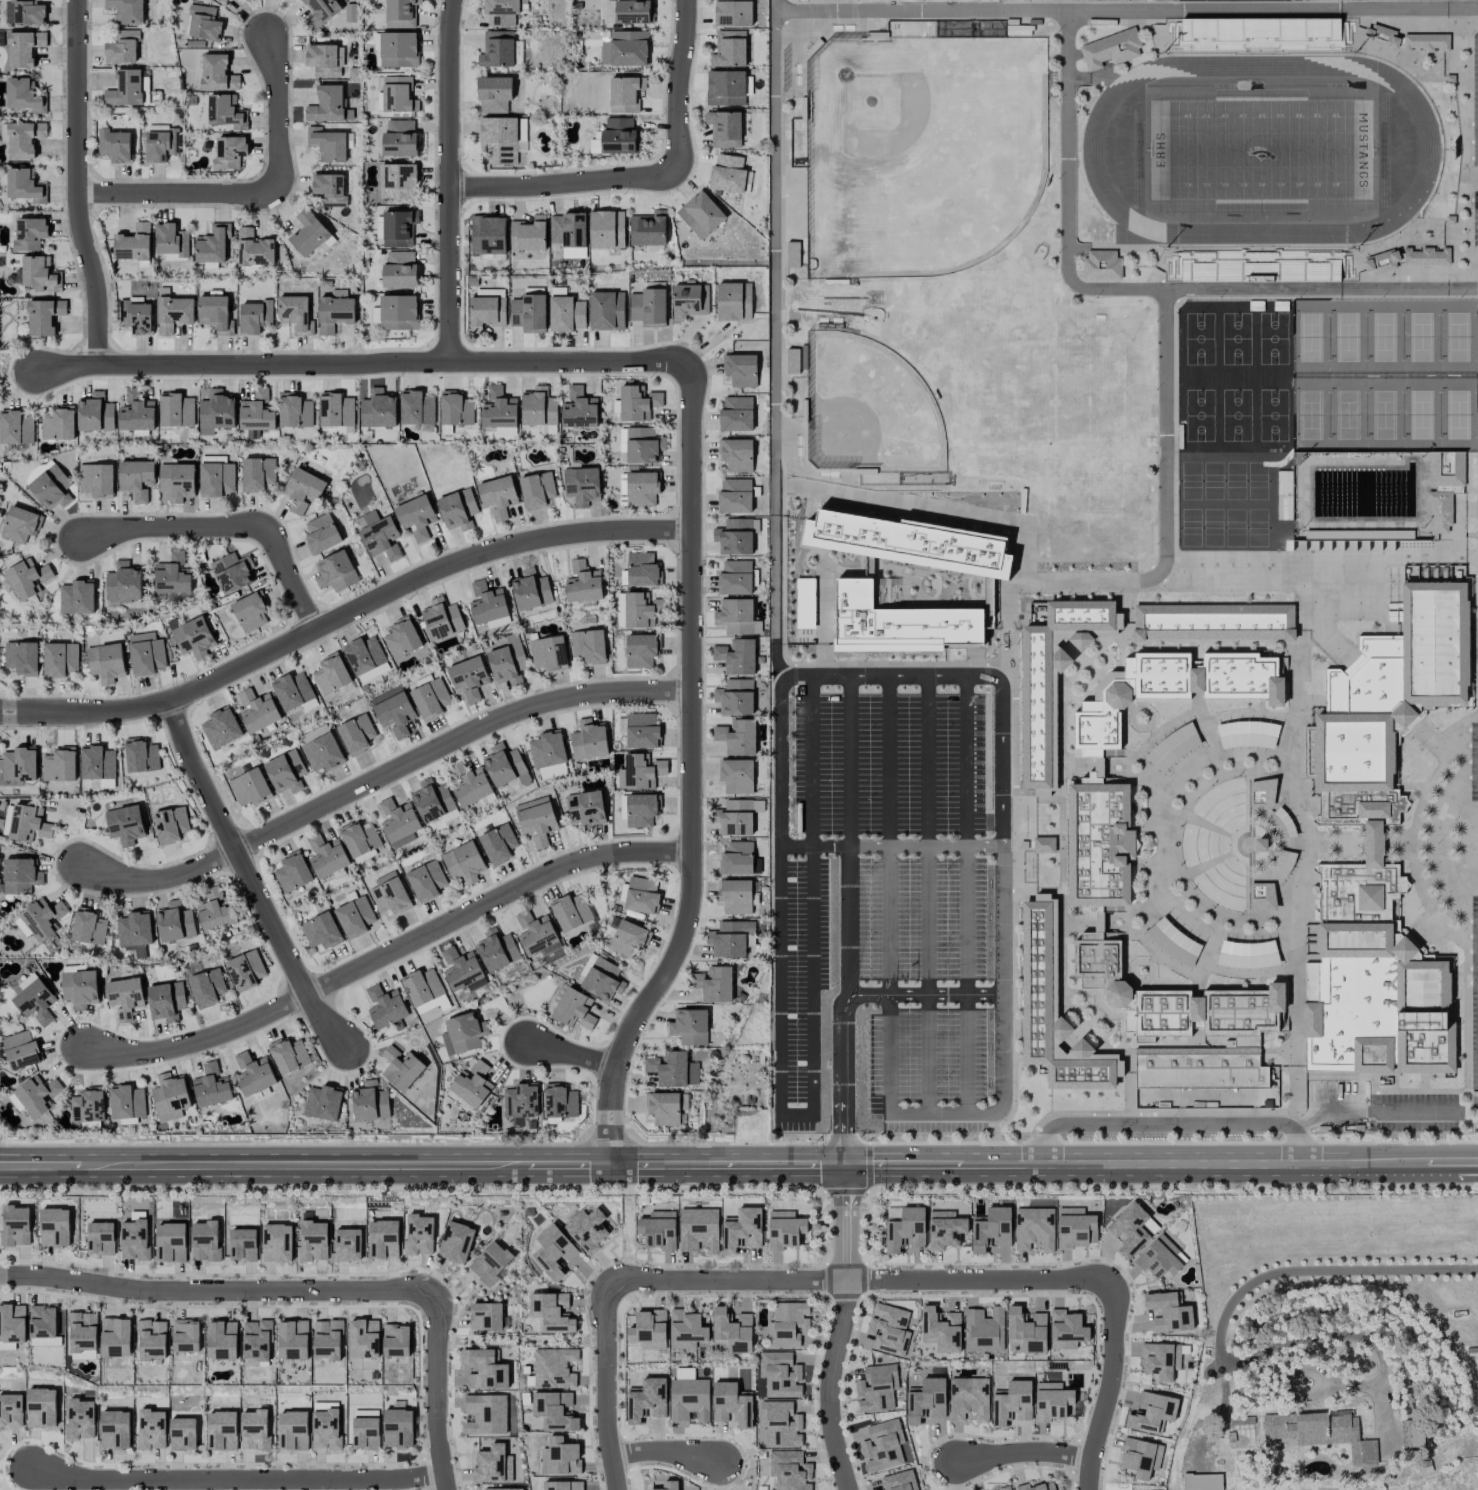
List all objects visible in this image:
building: (219, 0)
road: (1126, 10)
building: (126, 11)
building: (321, 11)
building: (502, 11)
building: (632, 11)
building: (24, 12)
building: (400, 13)
building: (732, 13)
building: (203, 23)
building: (1260, 34)
building: (1404, 39)
building: (24, 48)
building: (122, 48)
building: (629, 48)
building: (398, 49)
building: (497, 49)
building: (729, 49)
building: (1111, 49)
building: (605, 53)
building: (325, 60)
building: (217, 74)
building: (1449, 78)
road: (678, 85)
building: (125, 88)
building: (725, 88)
building: (625, 94)
building: (398, 95)
building: (494, 95)
building: (25, 96)
building: (326, 105)
building: (226, 112)
building: (724, 129)
building: (620, 136)
building: (24, 139)
building: (399, 139)
building: (502, 139)
building: (162, 144)
building: (327, 144)
building: (114, 145)
park: (1260, 149)
building: (229, 152)
park: (921, 152)
track: (1428, 155)
building: (727, 174)
road: (566, 179)
road: (451, 180)
building: (398, 181)
road: (78, 183)
building: (25, 185)
building: (329, 189)
road: (1067, 193)
road: (258, 194)
building: (700, 214)
building: (1449, 220)
building: (398, 228)
building: (606, 229)
building: (648, 229)
building: (567, 230)
building: (308, 233)
building: (29, 234)
building: (528, 234)
building: (488, 235)
building: (171, 241)
building: (133, 244)
building: (212, 244)
building: (254, 249)
building: (792, 254)
building: (1406, 258)
building: (1101, 265)
building: (1260, 266)
building: (400, 270)
building: (40, 275)
building: (689, 300)
building: (734, 301)
building: (648, 307)
building: (487, 309)
building: (335, 311)
building: (606, 311)
building: (398, 312)
building: (295, 313)
building: (529, 313)
building: (173, 314)
building: (215, 314)
building: (566, 314)
building: (44, 316)
building: (135, 316)
building: (254, 317)
road: (776, 335)
park: (1421, 336)
park: (1458, 336)
park: (1310, 337)
park: (1347, 337)
park: (1383, 337)
park: (1199, 338)
park: (1236, 338)
park: (1273, 338)
road: (365, 362)
building: (740, 370)
road: (1165, 393)
building: (637, 403)
building: (538, 407)
building: (416, 408)
park: (868, 408)
building: (378, 409)
building: (455, 409)
building: (498, 409)
building: (578, 409)
building: (176, 410)
building: (335, 410)
building: (295, 411)
building: (216, 412)
building: (256, 412)
building: (95, 413)
building: (136, 413)
building: (736, 414)
park: (1347, 414)
park: (1421, 414)
park: (1458, 414)
park: (1199, 415)
park: (1236, 415)
park: (1273, 415)
park: (1310, 415)
park: (1384, 415)
building: (58, 424)
building: (16, 427)
building: (505, 431)
building: (622, 440)
building: (643, 445)
building: (736, 455)
building: (257, 474)
building: (137, 479)
building: (216, 479)
building: (96, 480)
building: (177, 481)
park: (1190, 482)
park: (1236, 482)
park: (1260, 482)
park: (1214, 483)
building: (582, 485)
building: (622, 485)
building: (1444, 486)
building: (52, 488)
building: (642, 488)
building: (302, 489)
building: (536, 490)
building: (498, 496)
building: (735, 496)
building: (457, 509)
building: (415, 517)
building: (20, 524)
road: (229, 528)
park: (1190, 528)
park: (1236, 528)
park: (1260, 528)
park: (1213, 529)
building: (1241, 532)
building: (1206, 533)
building: (321, 534)
building: (1359, 534)
building: (379, 536)
building: (736, 536)
building: (912, 544)
building: (871, 568)
building: (642, 570)
building: (232, 572)
building: (335, 572)
building: (172, 575)
building: (28, 578)
building: (735, 578)
building: (1198, 578)
building: (583, 583)
building: (123, 584)
building: (531, 592)
building: (77, 598)
building: (487, 604)
building: (250, 611)
building: (638, 611)
road: (342, 616)
building: (735, 616)
building: (442, 619)
building: (1214, 622)
building: (898, 623)
building: (193, 638)
building: (402, 638)
building: (588, 646)
building: (641, 650)
building: (548, 653)
building: (146, 654)
building: (364, 655)
building: (736, 656)
building: (21, 658)
building: (60, 659)
building: (105, 662)
road: (895, 669)
building: (331, 674)
building: (468, 678)
building: (1053, 680)
building: (292, 691)
building: (735, 697)
building: (430, 699)
building: (257, 711)
building: (393, 711)
building: (221, 728)
building: (642, 731)
building: (356, 734)
building: (1247, 734)
building: (737, 737)
building: (589, 740)
building: (1173, 747)
building: (320, 749)
building: (547, 750)
building: (141, 756)
road: (889, 757)
road: (929, 757)
road: (967, 757)
road: (811, 758)
road: (849, 758)
road: (783, 759)
road: (1006, 759)
building: (97, 763)
building: (19, 765)
building: (59, 765)
building: (502, 765)
building: (457, 768)
road: (693, 770)
building: (286, 772)
building: (640, 772)
road: (383, 776)
building: (736, 776)
building: (250, 788)
building: (471, 788)
building: (1261, 792)
building: (432, 801)
building: (587, 807)
building: (642, 810)
building: (735, 818)
building: (536, 820)
building: (7, 821)
building: (398, 823)
building: (28, 824)
building: (125, 824)
building: (1281, 824)
building: (170, 825)
building: (360, 839)
building: (498, 844)
building: (1261, 844)
building: (1044, 845)
road: (929, 846)
road: (815, 847)
building: (1379, 847)
building: (326, 856)
building: (736, 859)
building: (464, 863)
building: (1282, 864)
parking lot: (933, 872)
building: (292, 873)
building: (20, 876)
building: (385, 878)
road: (248, 879)
building: (426, 881)
building: (1099, 884)
building: (642, 896)
building: (735, 896)
building: (1261, 896)
building: (390, 897)
building: (215, 911)
building: (571, 913)
building: (355, 917)
building: (43, 918)
building: (175, 923)
building: (88, 927)
building: (134, 929)
building: (321, 931)
building: (535, 933)
building: (628, 938)
building: (730, 938)
building: (1173, 942)
building: (497, 950)
road: (388, 951)
road: (812, 954)
building: (1247, 954)
building: (460, 969)
road: (850, 969)
building: (245, 970)
building: (602, 979)
road: (932, 979)
road: (970, 980)
building: (27, 981)
road: (890, 981)
building: (714, 984)
building: (80, 987)
building: (207, 987)
building: (422, 987)
building: (125, 997)
building: (166, 1000)
building: (35, 1002)
building: (385, 1007)
building: (1054, 1008)
building: (573, 1009)
road: (781, 1021)
building: (690, 1027)
road: (1005, 1029)
building: (463, 1034)
building: (20, 1050)
road: (571, 1053)
building: (289, 1055)
building: (401, 1068)
building: (673, 1069)
building: (253, 1074)
building: (472, 1084)
building: (211, 1086)
road: (852, 1094)
building: (37, 1095)
building: (170, 1097)
building: (521, 1100)
building: (15, 1101)
building: (560, 1101)
building: (126, 1102)
building: (369, 1102)
building: (323, 1103)
building: (88, 1105)
building: (665, 1107)
road: (1384, 1111)
road: (1309, 1118)
road: (1157, 1123)
road: (1302, 1127)
road: (1299, 1145)
road: (1259, 1159)
road: (423, 1160)
road: (1020, 1161)
road: (923, 1163)
traffic signals: (848, 1164)
building: (15, 1225)
building: (55, 1228)
building: (1076, 1228)
building: (658, 1229)
building: (698, 1229)
building: (1034, 1229)
building: (1132, 1229)
building: (586, 1230)
building: (741, 1230)
building: (784, 1230)
building: (945, 1230)
building: (991, 1230)
building: (905, 1231)
building: (418, 1235)
building: (100, 1238)
building: (134, 1239)
building: (383, 1239)
building: (204, 1241)
building: (312, 1241)
building: (170, 1242)
building: (455, 1242)
building: (276, 1243)
building: (242, 1244)
building: (347, 1245)
building: (553, 1252)
building: (1160, 1258)
building: (490, 1262)
road: (728, 1279)
road: (979, 1280)
road: (217, 1290)
building: (551, 1312)
building: (1169, 1312)
building: (486, 1317)
building: (12, 1323)
building: (42, 1325)
building: (788, 1325)
road: (843, 1328)
building: (941, 1329)
building: (1026, 1329)
road: (1220, 1329)
building: (648, 1330)
building: (686, 1330)
building: (732, 1330)
building: (889, 1330)
building: (1067, 1330)
building: (983, 1331)
building: (82, 1332)
building: (186, 1336)
building: (116, 1337)
building: (293, 1339)
building: (363, 1339)
building: (152, 1340)
building: (221, 1340)
building: (256, 1340)
building: (327, 1340)
building: (396, 1344)
building: (1161, 1360)
building: (554, 1368)
building: (484, 1369)
building: (780, 1374)
road: (604, 1385)
building: (877, 1389)
road: (1107, 1389)
road: (434, 1392)
building: (968, 1398)
building: (647, 1400)
building: (689, 1400)
building: (925, 1401)
building: (1052, 1401)
building: (1012, 1403)
building: (732, 1404)
building: (41, 1408)
building: (11, 1410)
building: (555, 1411)
building: (1152, 1413)
building: (485, 1414)
building: (80, 1419)
building: (780, 1424)
building: (150, 1429)
building: (325, 1429)
building: (397, 1429)
building: (114, 1430)
building: (221, 1430)
building: (254, 1430)
building: (292, 1430)
building: (1320, 1432)
building: (182, 1434)
building: (1412, 1434)
building: (883, 1446)
road: (664, 1452)
road: (1024, 1453)
building: (560, 1457)
building: (1141, 1458)
building: (492, 1465)
building: (790, 1470)
road: (720, 1475)
road: (240, 1481)
building: (899, 1481)
building: (563, 1485)
building: (668, 1485)
building: (1036, 1487)
building: (1005, 1488)
building: (503, 1489)

